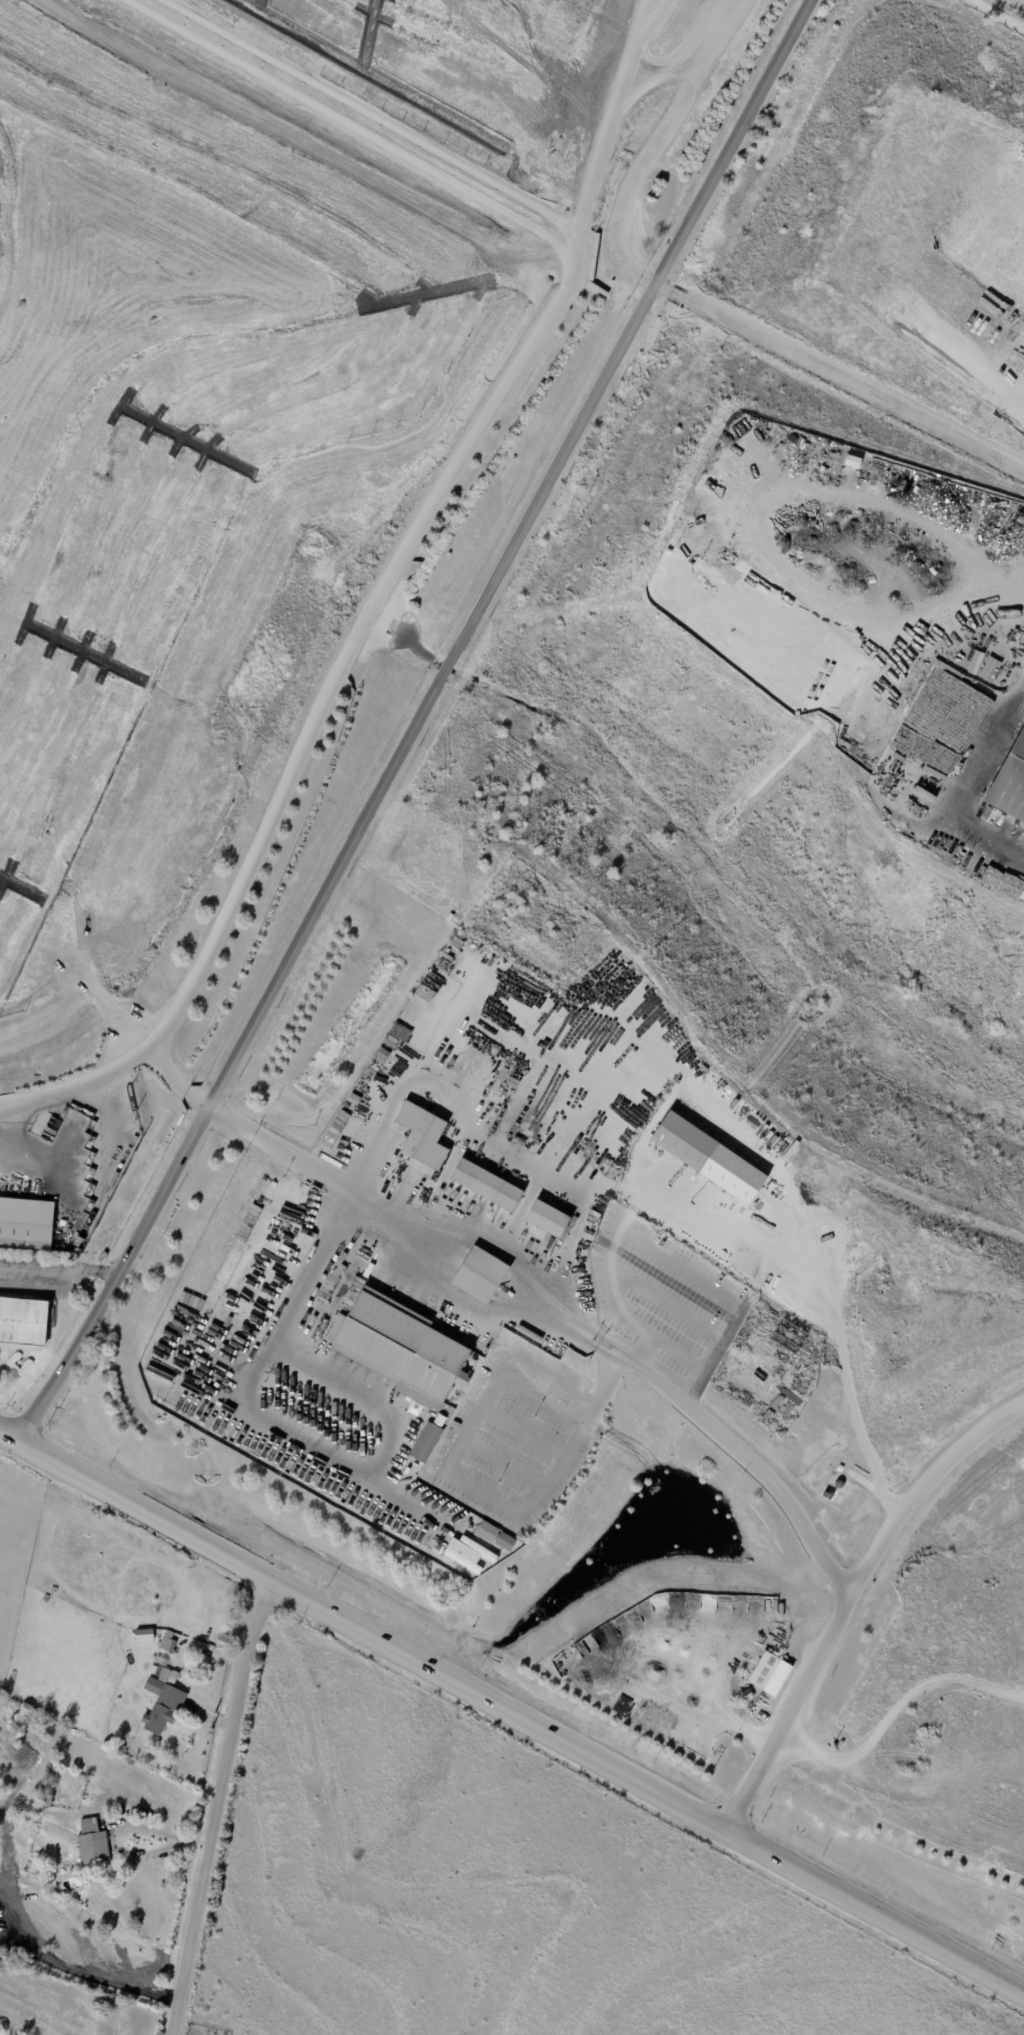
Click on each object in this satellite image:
road: (1003, 12)
landfill: (241, 318)
road: (839, 366)
road: (476, 433)
road: (940, 596)
road: (409, 721)
building: (1010, 783)
road: (111, 1066)
building: (376, 1087)
building: (637, 1127)
building: (424, 1134)
building: (687, 1141)
road: (482, 1142)
building: (488, 1184)
building: (550, 1219)
building: (26, 1223)
building: (80, 1241)
road: (662, 1264)
road: (57, 1271)
building: (482, 1276)
building: (249, 1280)
building: (23, 1322)
building: (402, 1348)
road: (655, 1379)
road: (376, 1394)
road: (260, 1415)
road: (524, 1430)
building: (426, 1442)
road: (501, 1464)
building: (840, 1469)
building: (413, 1472)
road: (476, 1490)
road: (921, 1493)
building: (487, 1532)
building: (506, 1542)
building: (470, 1553)
building: (229, 1593)
building: (144, 1634)
building: (168, 1641)
building: (771, 1675)
building: (164, 1698)
road: (513, 1711)
building: (46, 1800)
road: (212, 1802)
road: (112, 1824)
road: (337, 1835)
building: (92, 1842)
building: (75, 1899)

